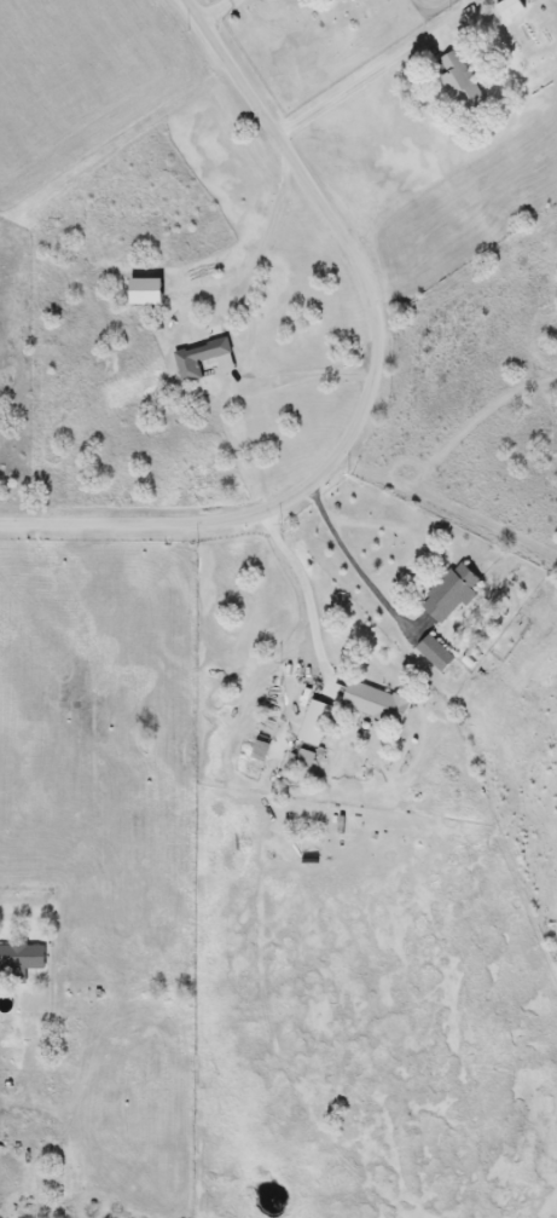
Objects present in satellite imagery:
building: (509, 8)
road: (215, 10)
building: (458, 85)
road: (361, 88)
building: (197, 360)
road: (300, 379)
road: (376, 388)
road: (355, 566)
building: (449, 594)
road: (309, 598)
building: (434, 654)
building: (375, 704)
building: (314, 725)
building: (22, 959)

